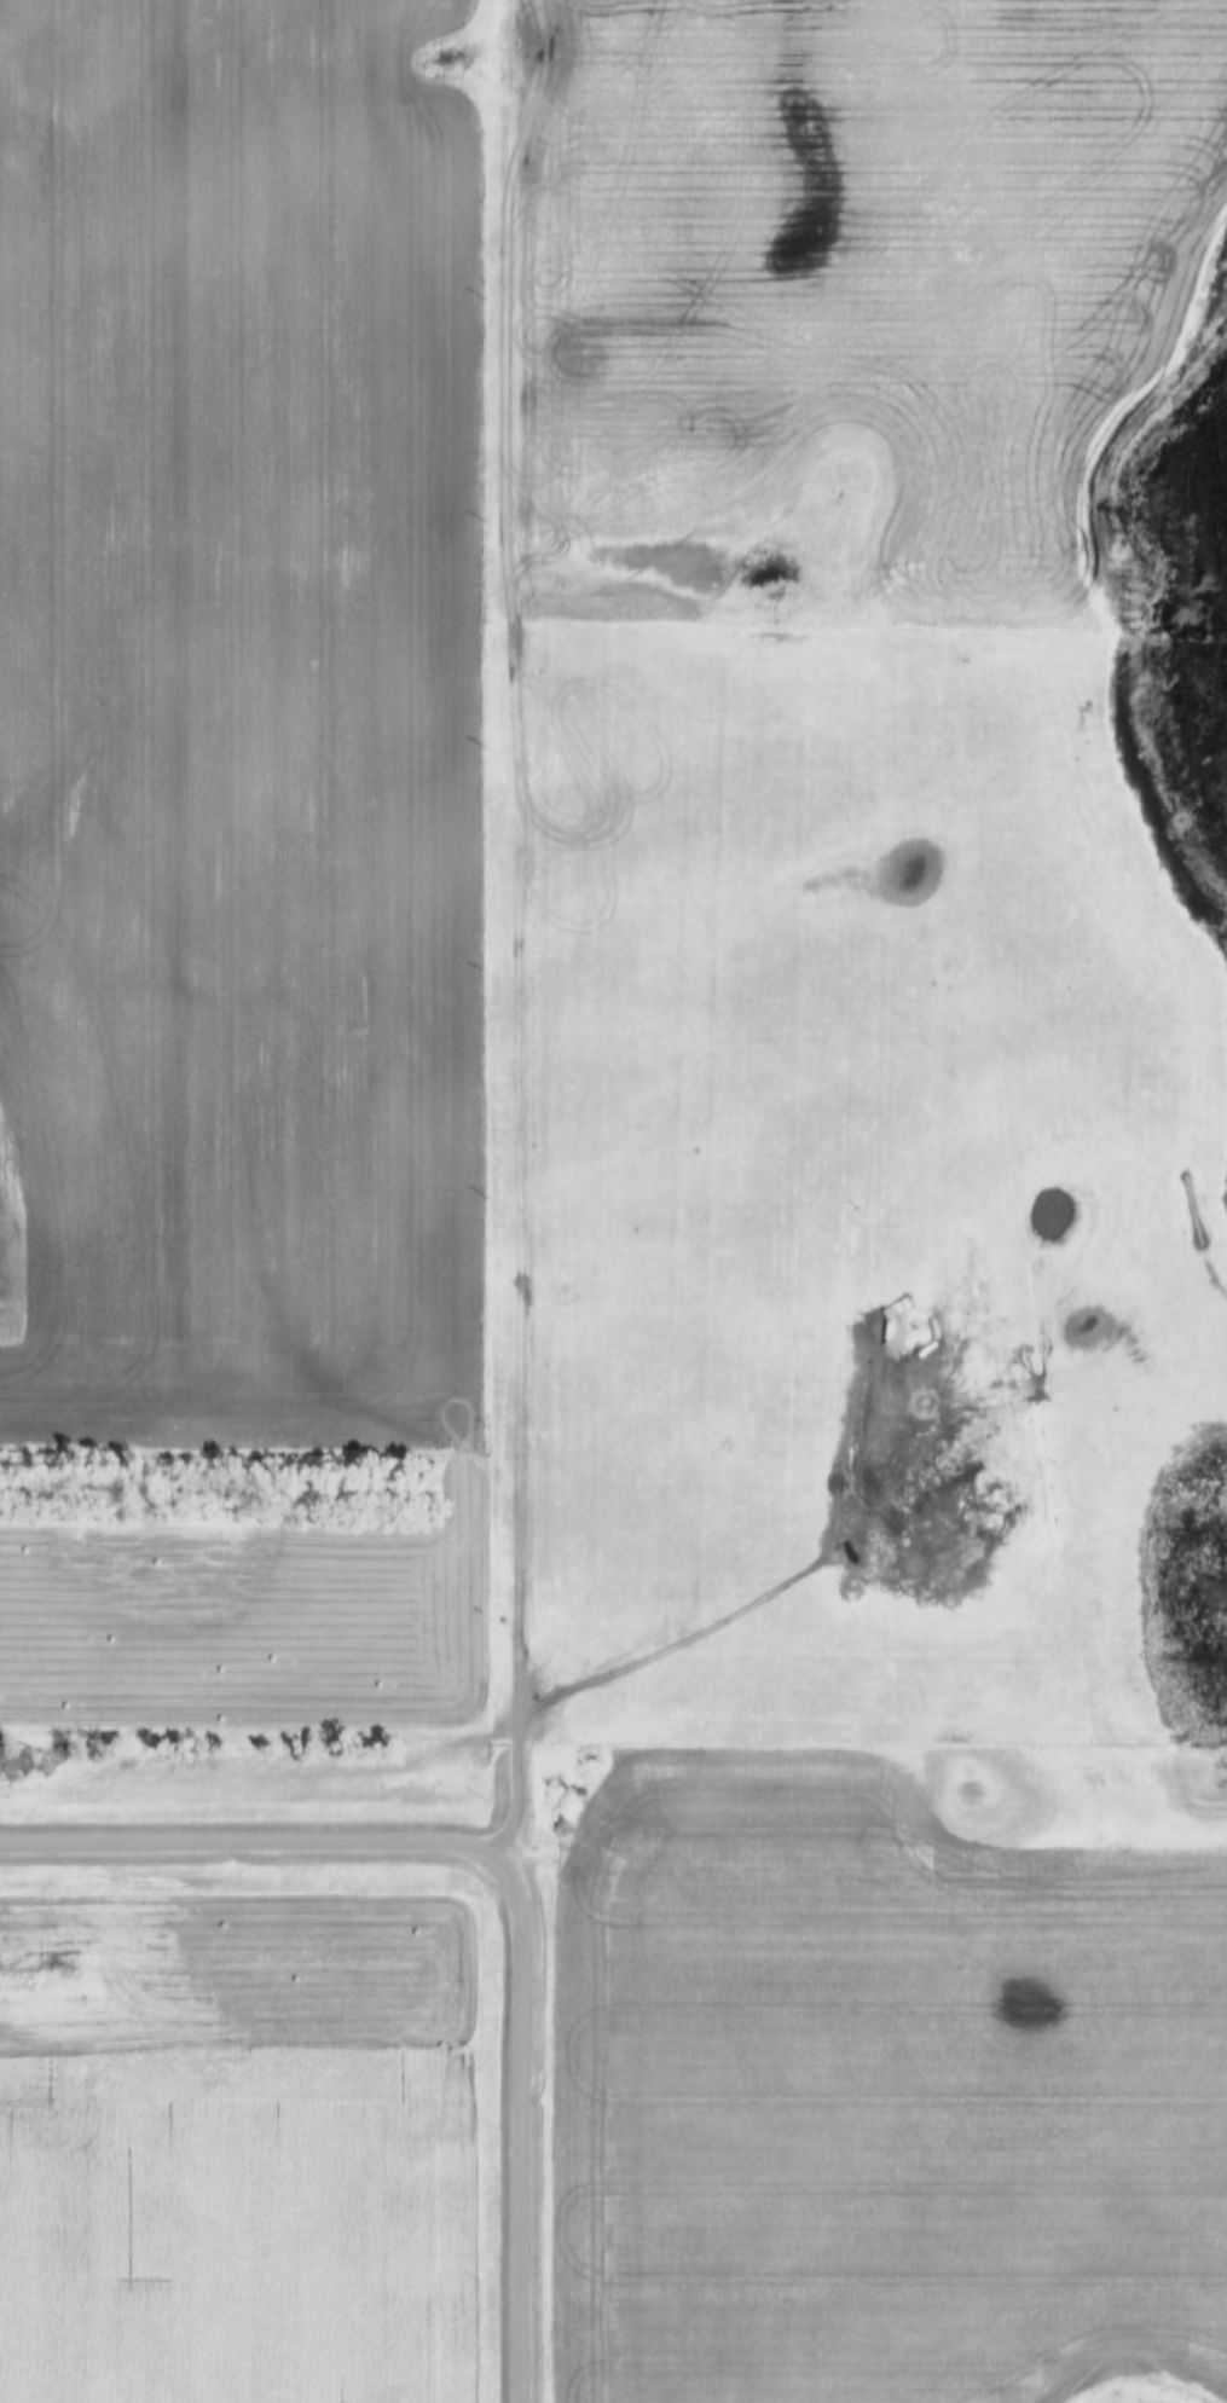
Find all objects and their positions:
road: (503, 1263)
building: (892, 1309)
road: (273, 1843)
road: (519, 2153)

